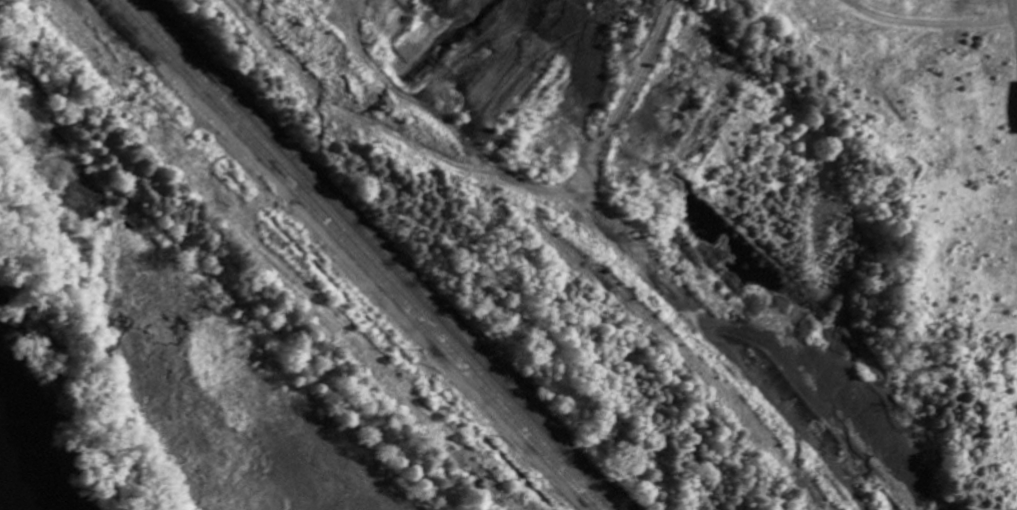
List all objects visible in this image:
road: (1009, 34)
railway: (376, 255)
river: (19, 469)

